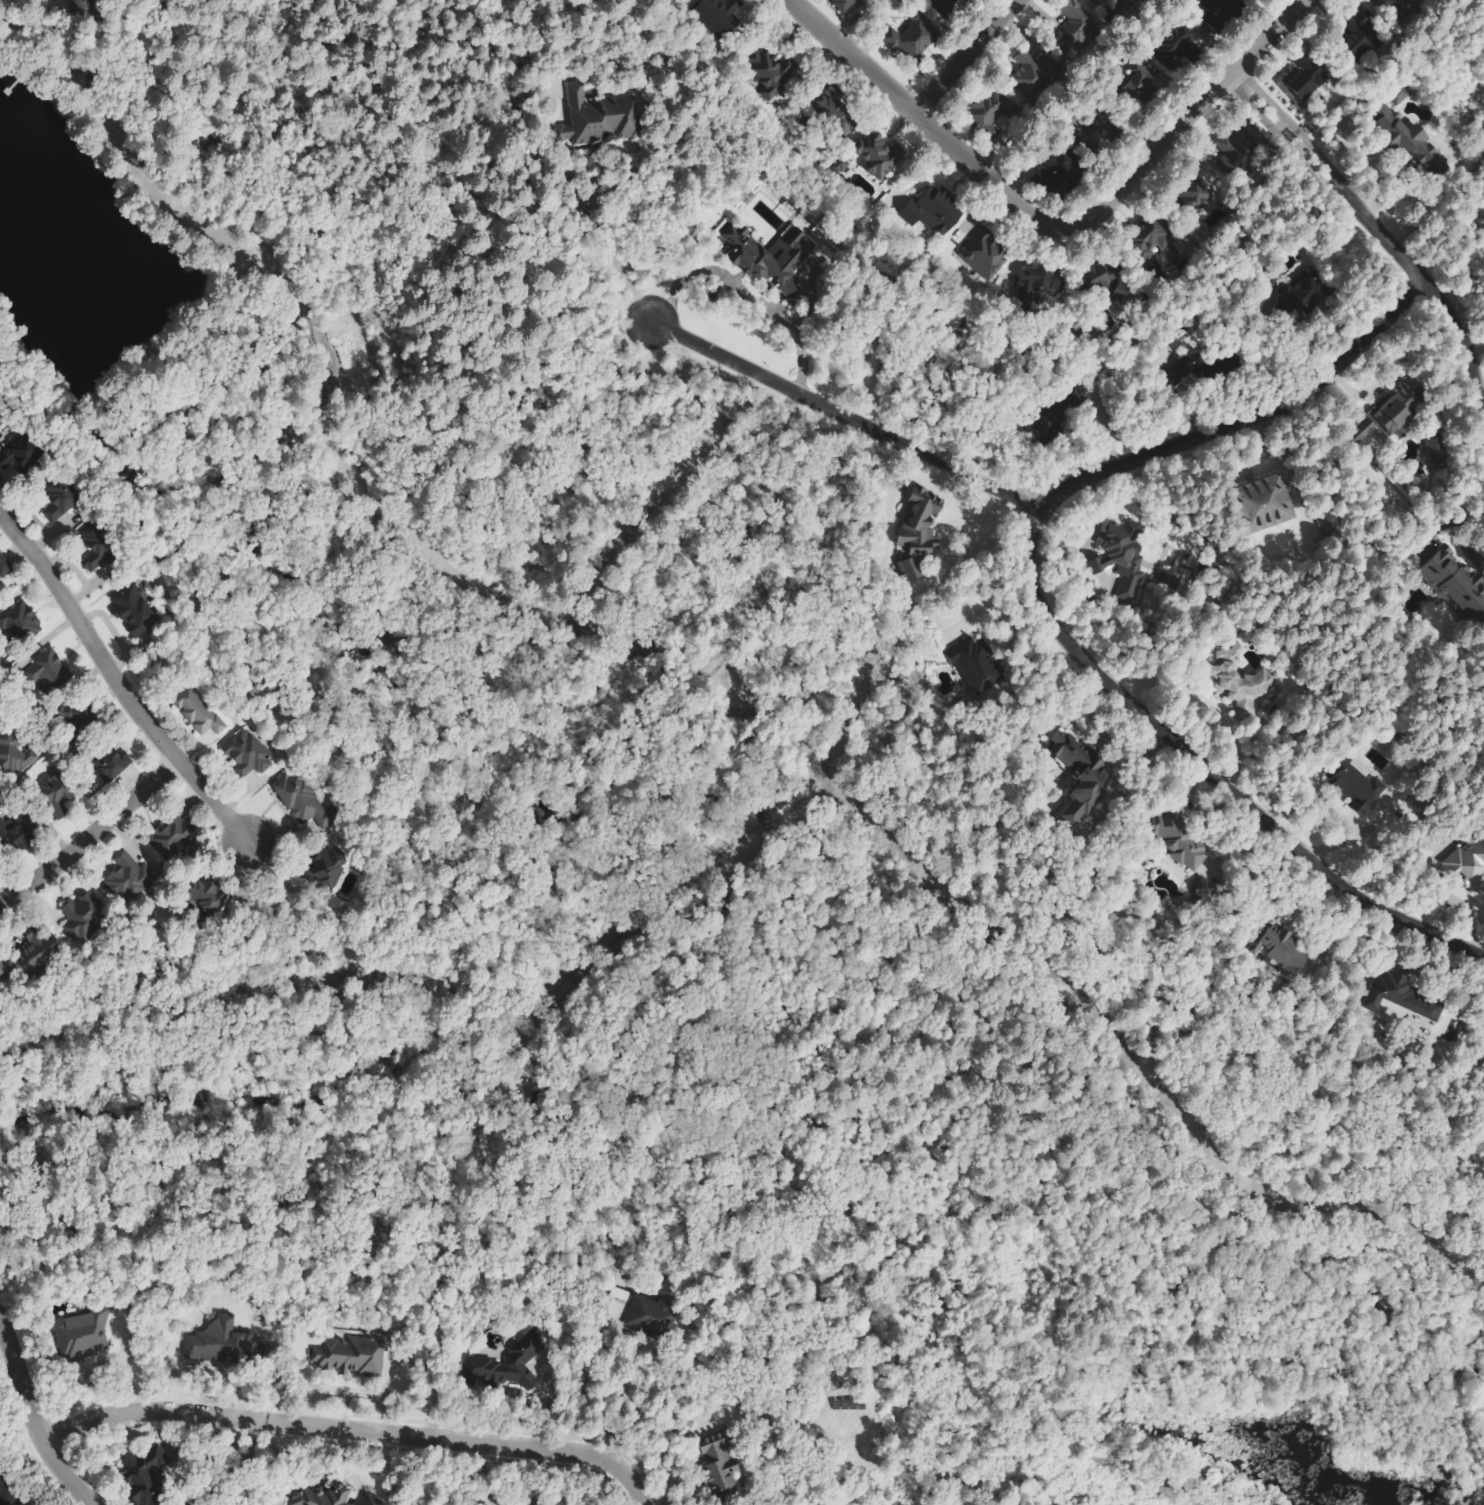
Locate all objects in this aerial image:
building: (846, 5)
building: (77, 8)
building: (1221, 13)
building: (719, 16)
building: (1368, 21)
building: (1074, 34)
building: (912, 38)
building: (1174, 47)
road: (962, 56)
building: (773, 75)
building: (1033, 79)
building: (1303, 80)
building: (1401, 97)
building: (835, 109)
building: (990, 111)
building: (595, 117)
building: (1407, 137)
building: (1236, 146)
building: (877, 154)
road: (1326, 179)
building: (1195, 192)
road: (1048, 226)
building: (1157, 239)
road: (610, 254)
building: (984, 254)
building: (775, 258)
building: (1109, 284)
building: (1038, 286)
building: (1306, 294)
road: (1464, 343)
building: (3, 415)
building: (1387, 417)
road: (844, 419)
building: (1051, 431)
building: (1439, 448)
building: (22, 454)
building: (59, 502)
building: (1264, 504)
building: (918, 534)
building: (96, 546)
building: (1124, 558)
building: (4, 566)
building: (1453, 583)
building: (134, 610)
road: (1047, 613)
building: (20, 622)
building: (976, 663)
building: (47, 671)
road: (118, 681)
building: (197, 712)
building: (248, 754)
building: (14, 755)
building: (111, 765)
building: (1082, 775)
building: (1355, 788)
building: (57, 794)
building: (304, 802)
building: (17, 833)
road: (92, 834)
building: (173, 839)
building: (1177, 841)
building: (1466, 865)
building: (325, 871)
building: (131, 879)
building: (205, 897)
building: (80, 917)
building: (1279, 948)
building: (39, 952)
building: (3, 968)
building: (1400, 999)
building: (653, 1316)
building: (84, 1336)
building: (351, 1356)
building: (506, 1365)
road: (594, 1381)
road: (28, 1423)
road: (348, 1430)
building: (720, 1462)
building: (147, 1475)
building: (6, 1493)
building: (324, 1496)
building: (373, 1502)
building: (192, 1504)
building: (537, 1504)

